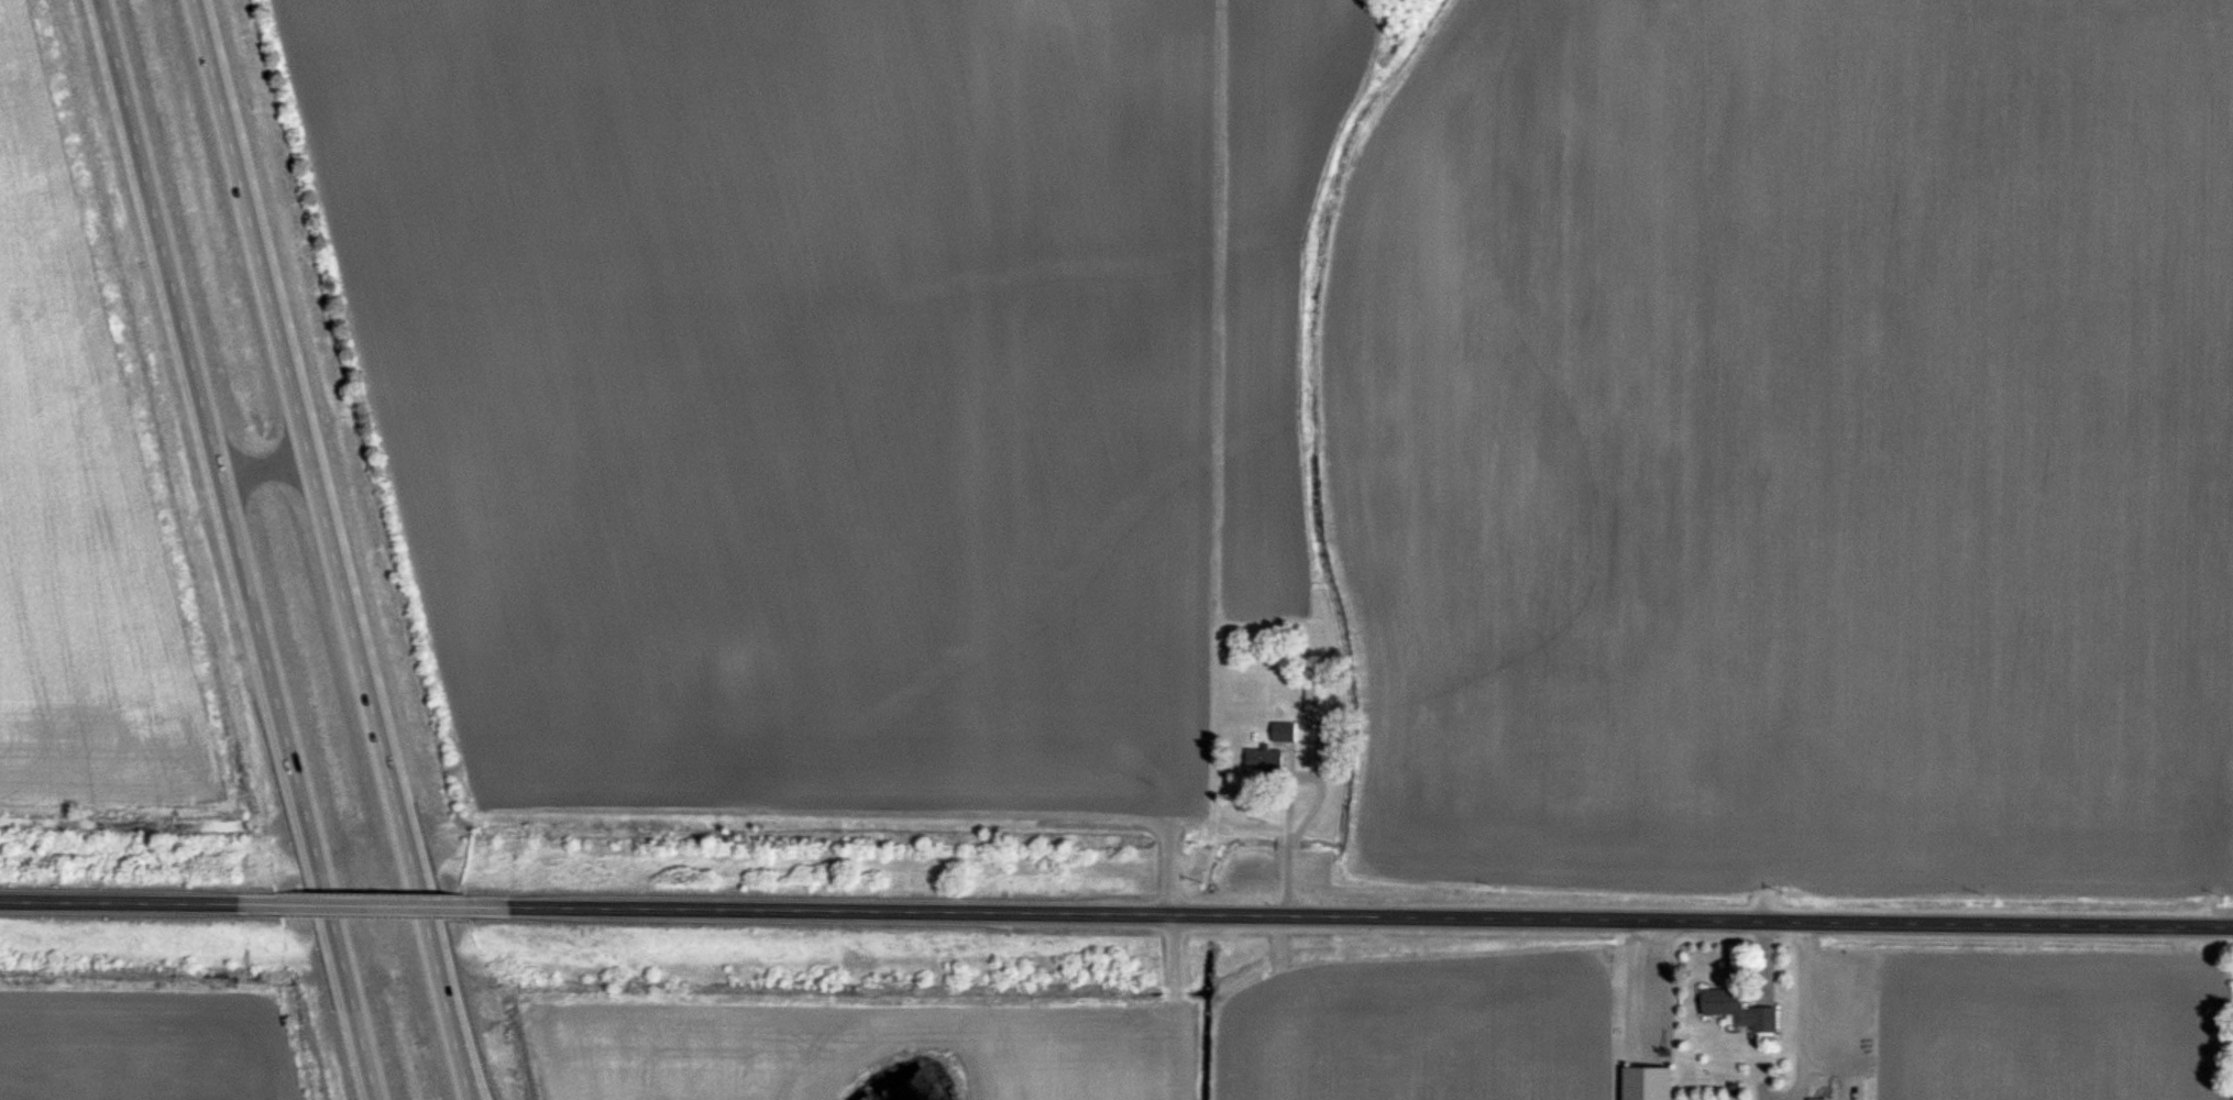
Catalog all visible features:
road: (264, 462)
road: (338, 549)
road: (234, 550)
building: (1317, 697)
building: (1284, 732)
building: (1264, 760)
road: (1286, 800)
road: (144, 900)
road: (393, 903)
road: (1364, 921)
road: (1180, 1005)
building: (1738, 1011)
building: (1648, 1083)

